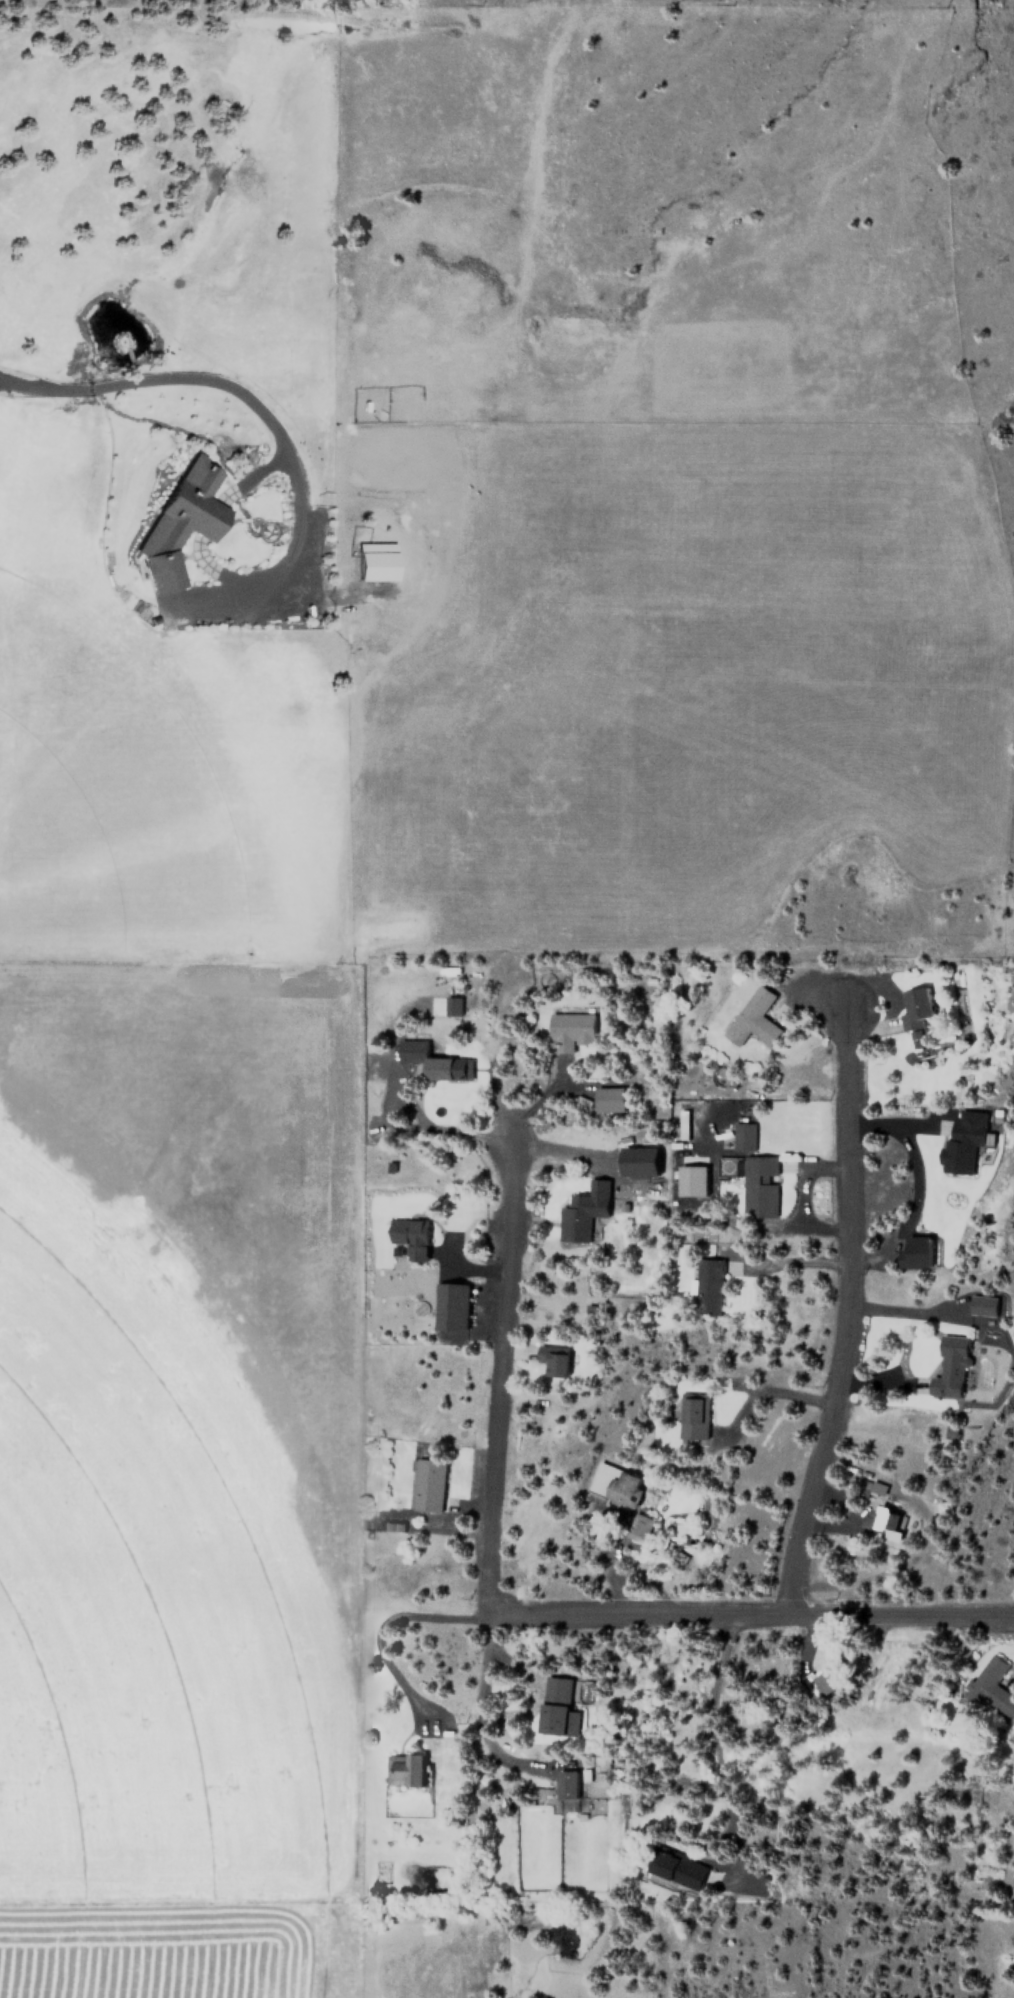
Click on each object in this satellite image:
road: (262, 415)
building: (177, 521)
building: (372, 561)
building: (913, 1005)
building: (452, 1006)
building: (751, 1018)
building: (570, 1030)
building: (448, 1068)
building: (607, 1099)
building: (743, 1136)
building: (962, 1145)
building: (639, 1162)
building: (690, 1180)
building: (759, 1186)
building: (583, 1210)
building: (408, 1237)
building: (916, 1252)
building: (706, 1286)
building: (984, 1305)
building: (451, 1306)
road: (844, 1313)
building: (551, 1360)
building: (949, 1366)
building: (693, 1416)
building: (602, 1479)
building: (426, 1484)
building: (877, 1487)
building: (623, 1490)
road: (493, 1509)
building: (882, 1522)
building: (640, 1528)
road: (750, 1614)
crop: (139, 1675)
building: (822, 1680)
building: (990, 1687)
building: (554, 1705)
building: (404, 1769)
building: (566, 1784)
building: (675, 1868)

